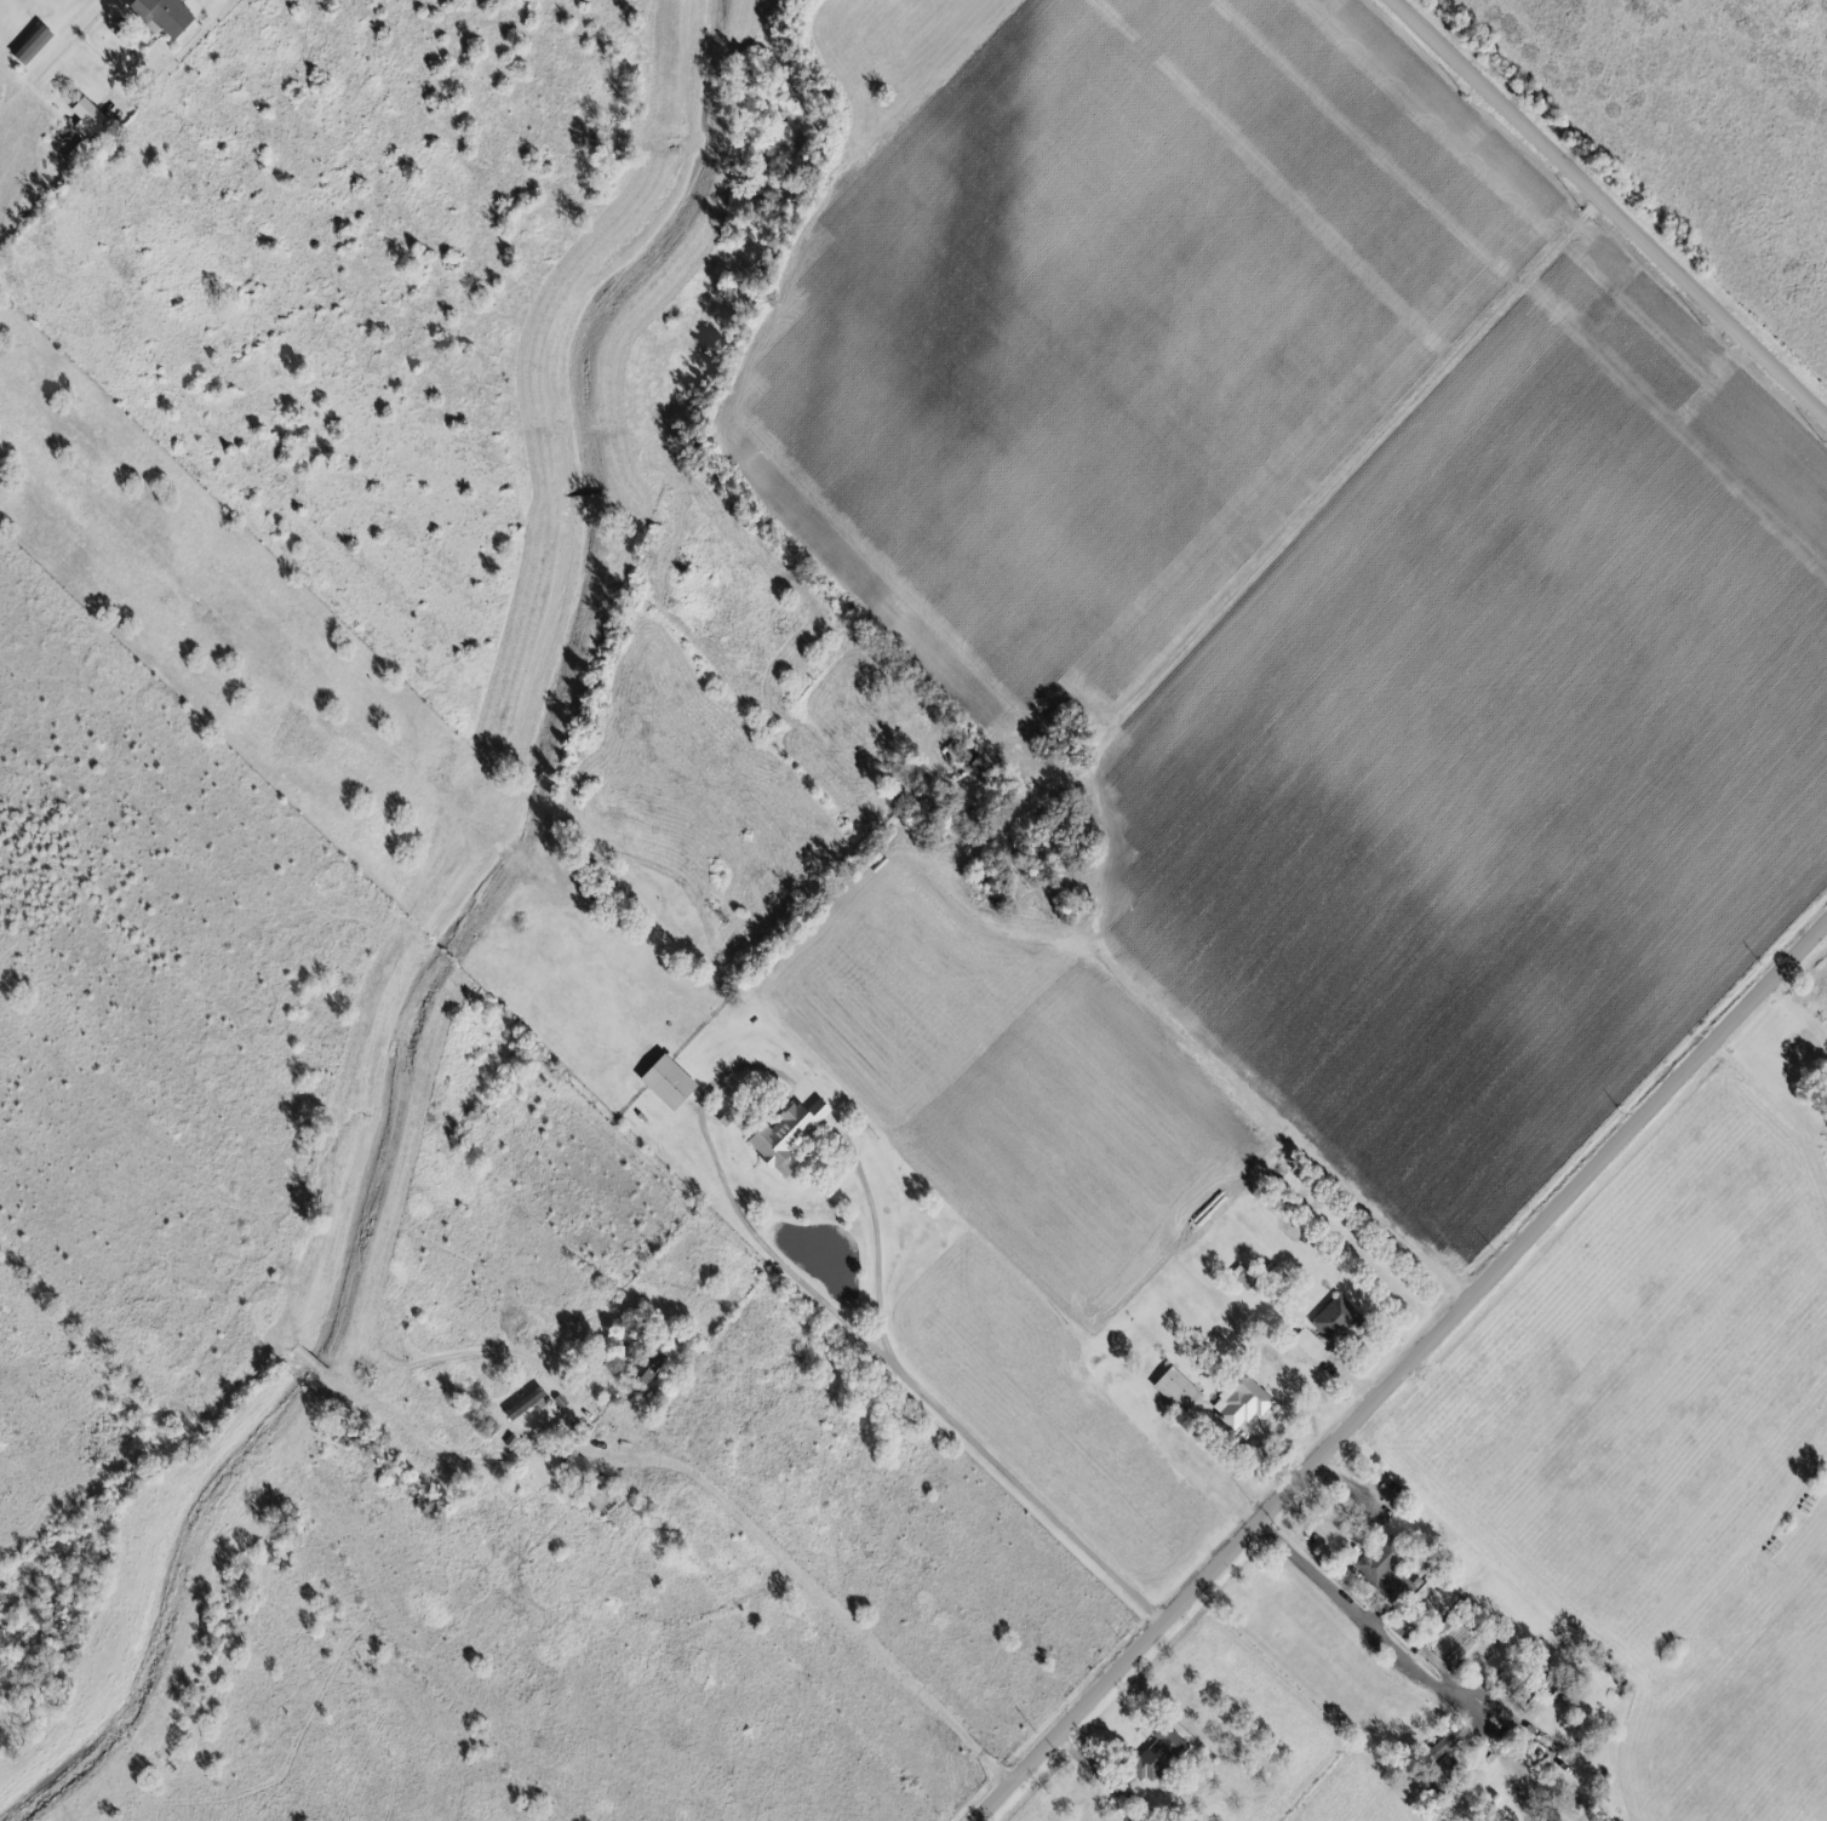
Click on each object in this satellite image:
building: (168, 16)
building: (34, 42)
road: (178, 61)
building: (93, 120)
road: (1609, 208)
road: (1317, 510)
road: (1132, 980)
building: (661, 1082)
building: (780, 1135)
road: (861, 1180)
building: (1238, 1277)
building: (1330, 1319)
building: (1304, 1344)
road: (1401, 1370)
building: (1173, 1390)
building: (1236, 1403)
road: (1367, 1530)
building: (1399, 1580)
road: (821, 1590)
road: (1374, 1617)
building: (1439, 1745)
building: (1152, 1757)
building: (1546, 1817)

